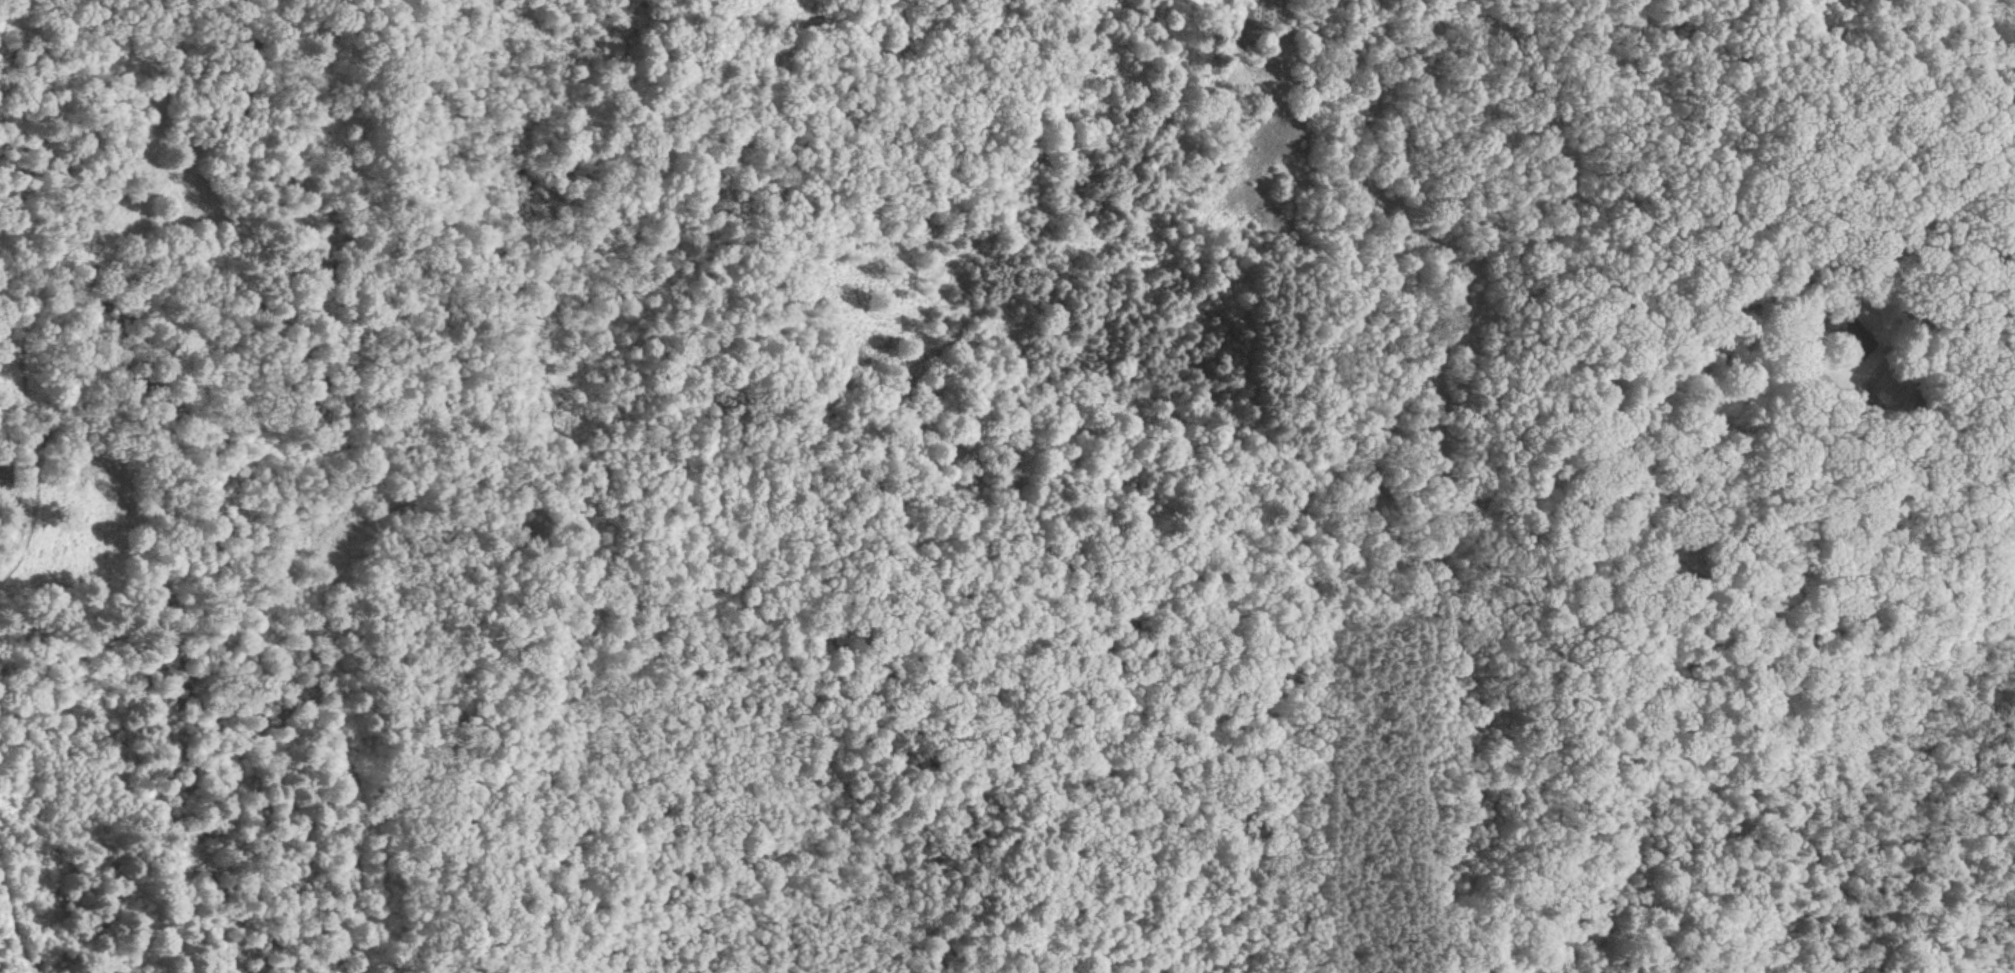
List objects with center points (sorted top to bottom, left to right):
road: (1950, 253)

